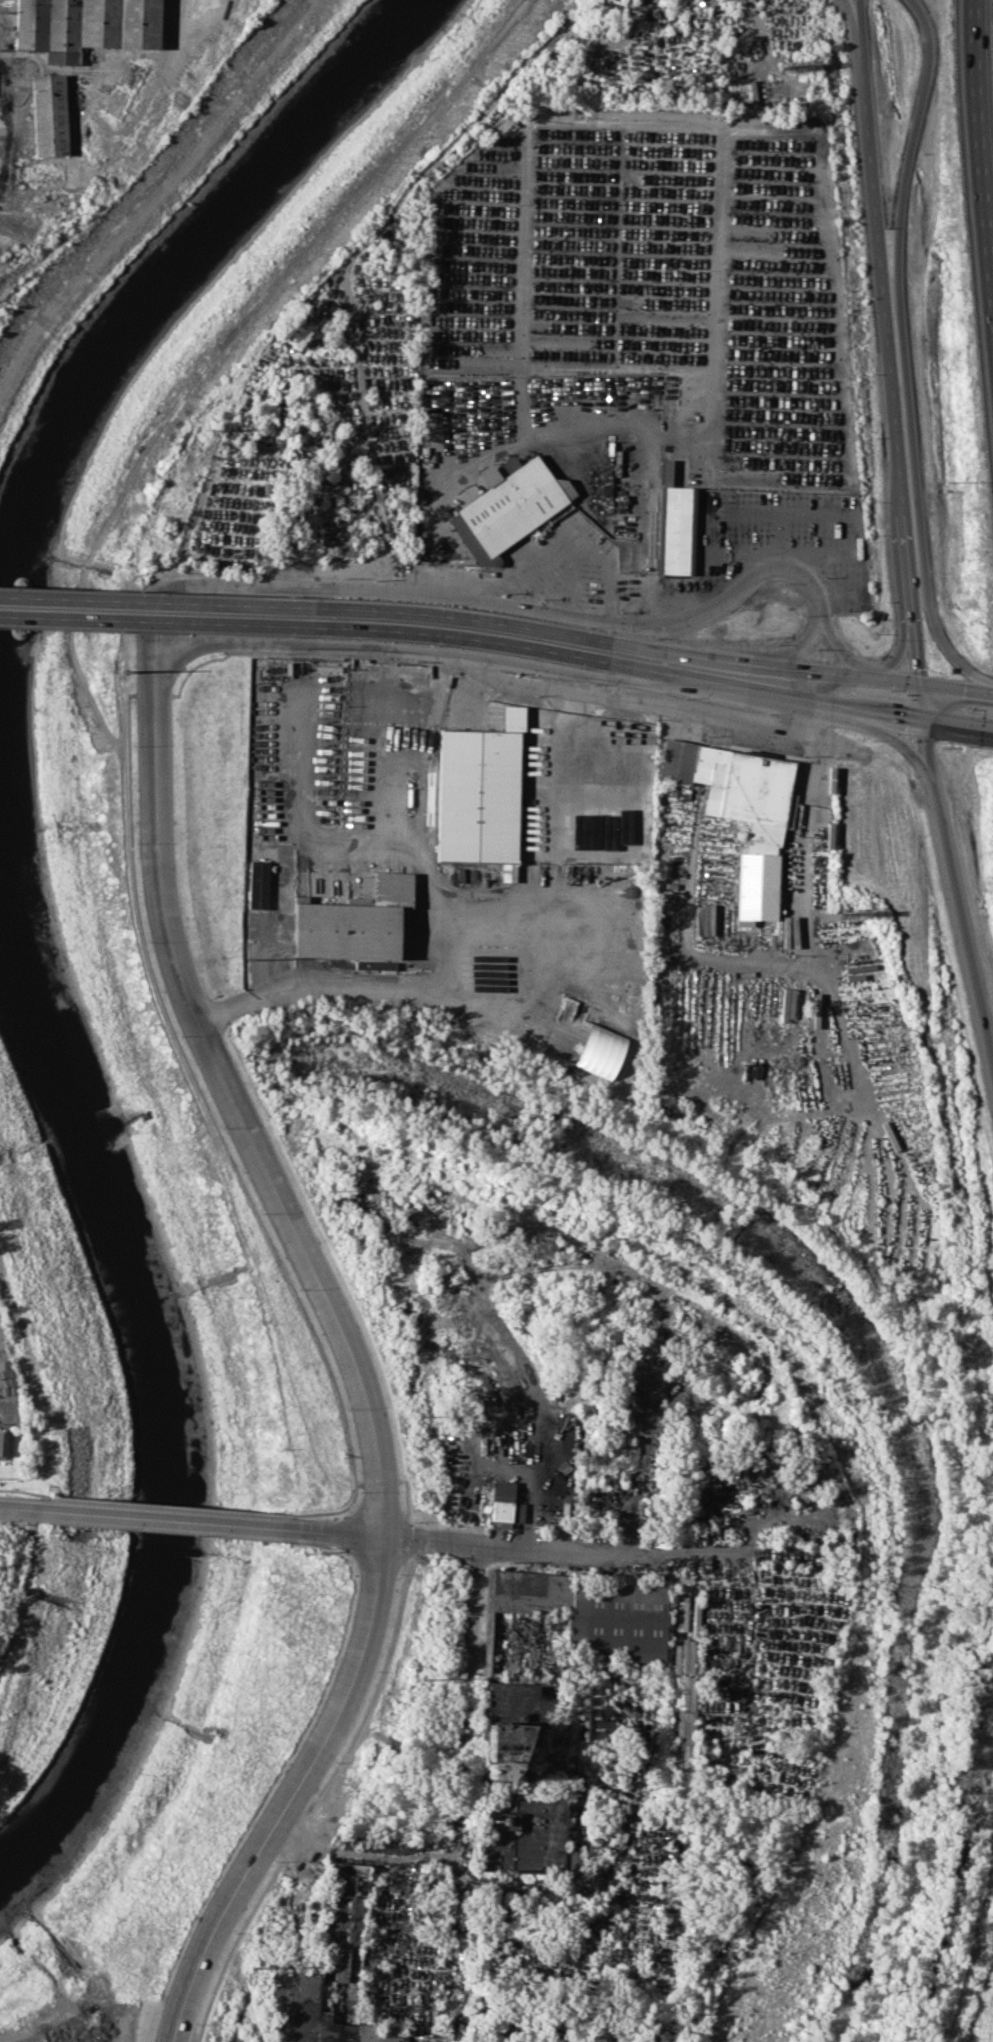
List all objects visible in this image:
building: (89, 26)
road: (851, 28)
road: (858, 28)
building: (50, 116)
road: (639, 116)
road: (984, 124)
power tower: (430, 188)
river: (161, 293)
road: (904, 352)
road: (890, 374)
power tower: (211, 427)
road: (628, 428)
building: (509, 504)
road: (744, 512)
road: (783, 514)
building: (675, 522)
road: (572, 539)
building: (341, 547)
road: (309, 601)
road: (482, 602)
road: (308, 624)
road: (841, 648)
road: (791, 651)
road: (900, 657)
road: (489, 661)
road: (770, 668)
power tower: (126, 671)
road: (770, 695)
road: (958, 695)
building: (359, 726)
road: (960, 726)
road: (906, 745)
building: (479, 791)
building: (742, 811)
road: (290, 812)
road: (813, 864)
road: (952, 882)
building: (336, 914)
road: (445, 940)
power tower: (243, 957)
road: (534, 996)
building: (597, 1050)
road: (233, 1102)
power tower: (326, 1184)
road: (561, 1264)
river: (157, 1388)
power tower: (424, 1413)
building: (5, 1439)
road: (20, 1508)
building: (503, 1510)
building: (517, 1512)
road: (164, 1519)
road: (337, 1534)
road: (515, 1548)
road: (474, 1609)
building: (589, 1611)
power tower: (424, 1680)
building: (519, 1702)
building: (501, 1749)
road: (294, 1796)
building: (525, 1839)
road: (452, 1860)
building: (346, 1935)
power tower: (248, 1969)
building: (311, 2012)

